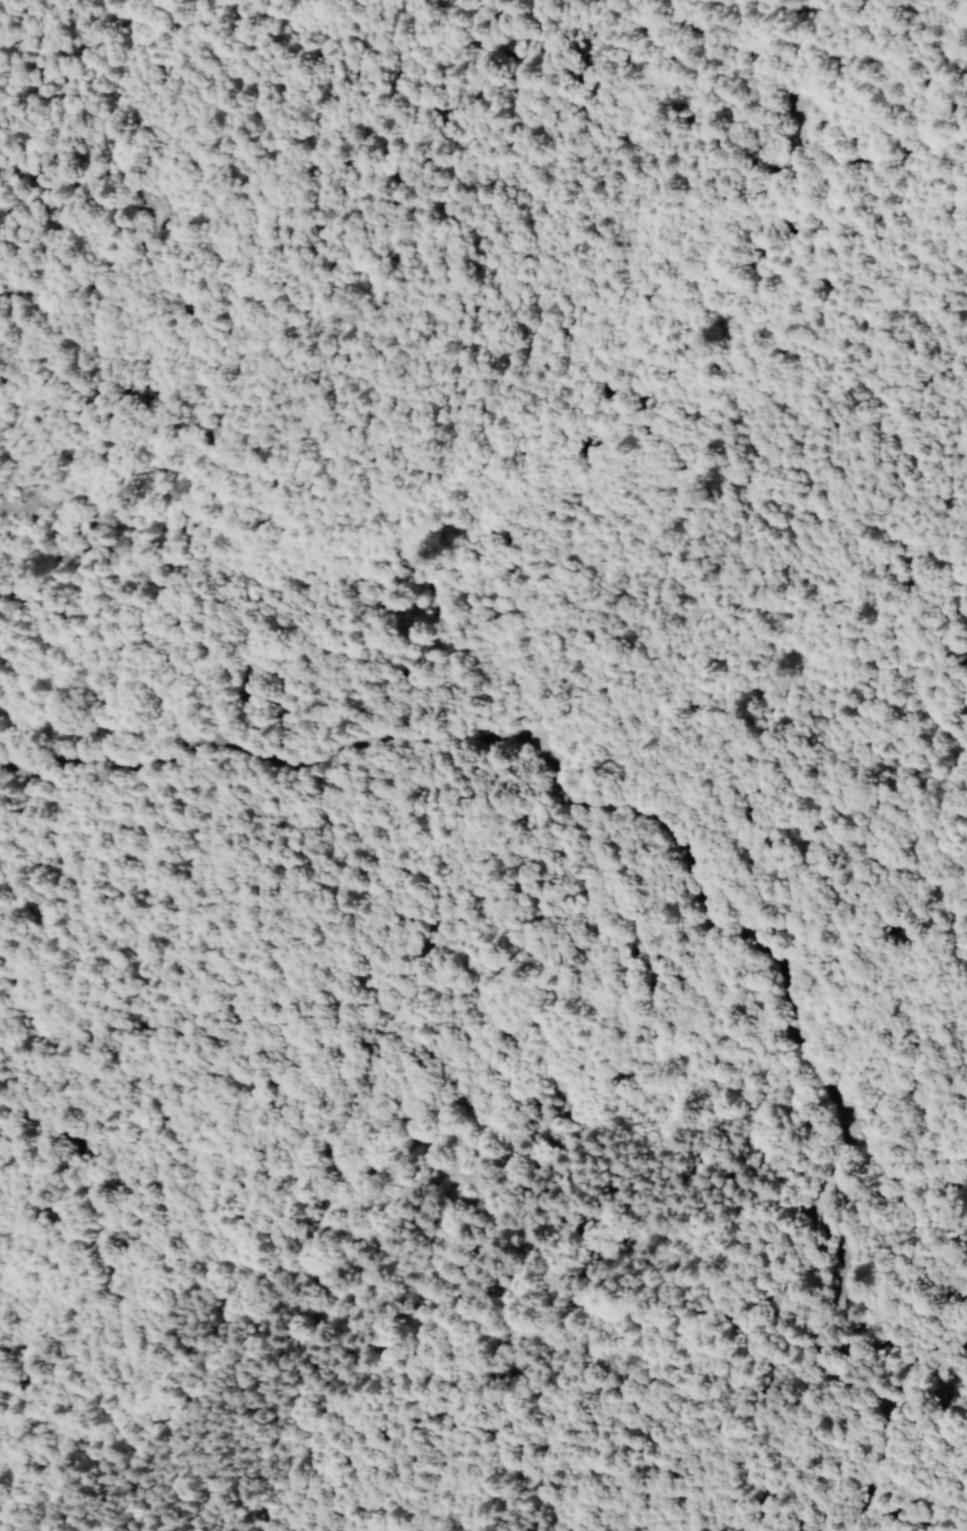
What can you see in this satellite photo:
road: (697, 892)

